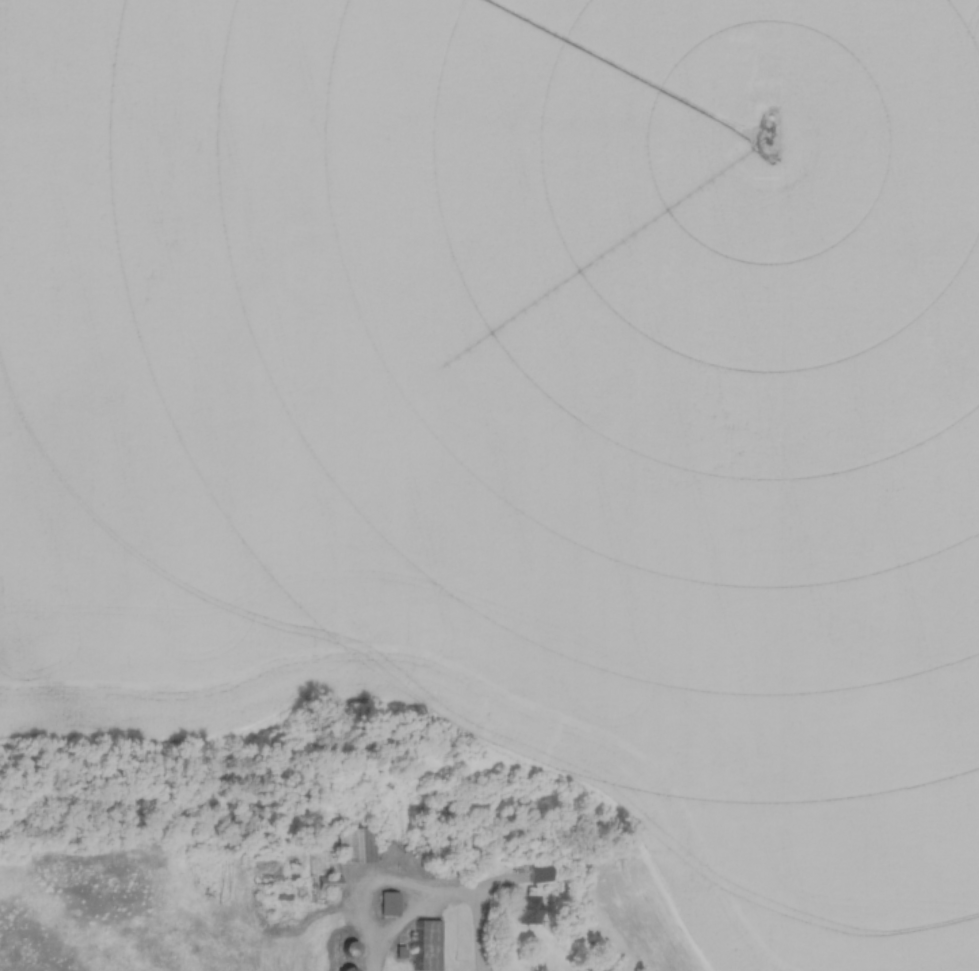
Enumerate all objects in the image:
building: (358, 846)
building: (538, 871)
building: (330, 884)
road: (443, 904)
building: (390, 905)
building: (525, 911)
building: (430, 946)

